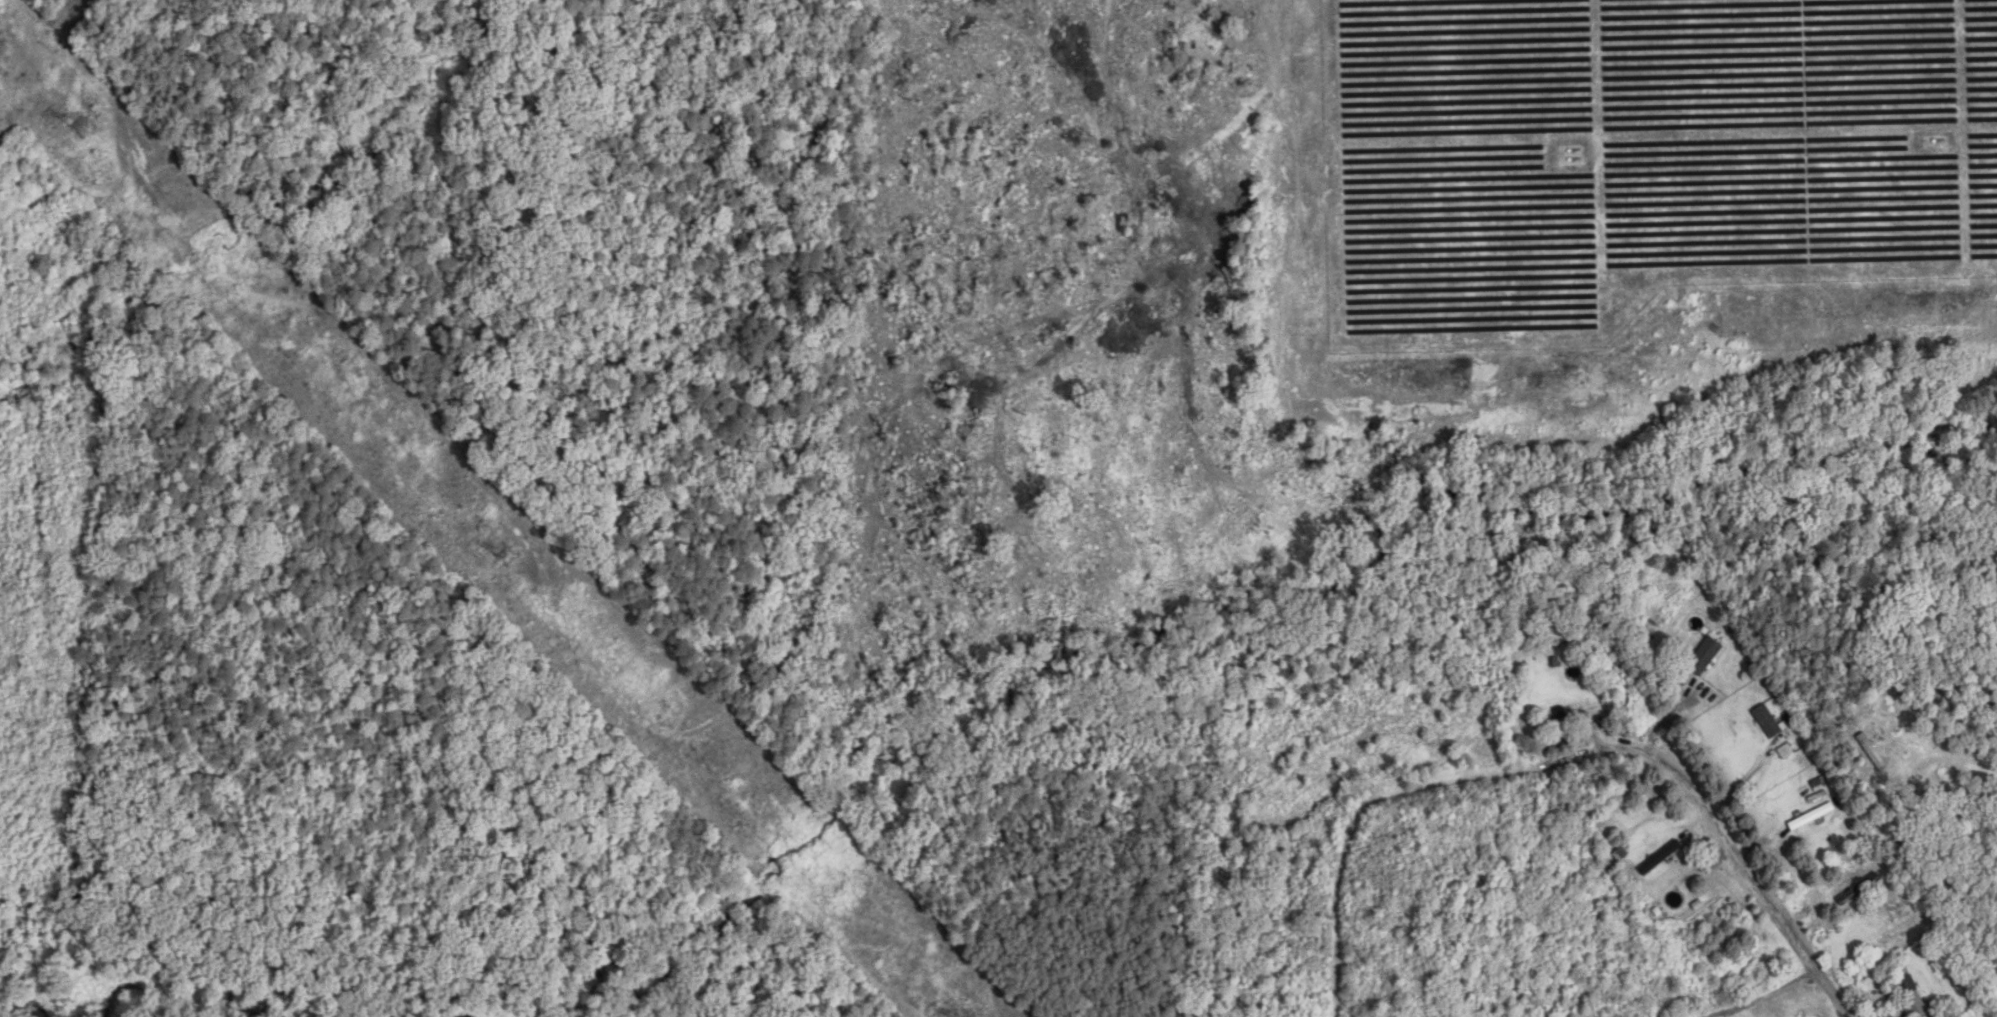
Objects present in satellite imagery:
power tower: (82, 126)
power tower: (510, 557)
building: (1706, 657)
building: (1566, 720)
building: (1768, 722)
road: (1703, 808)
building: (1812, 817)
building: (1661, 858)
building: (1859, 889)
road: (1786, 987)

